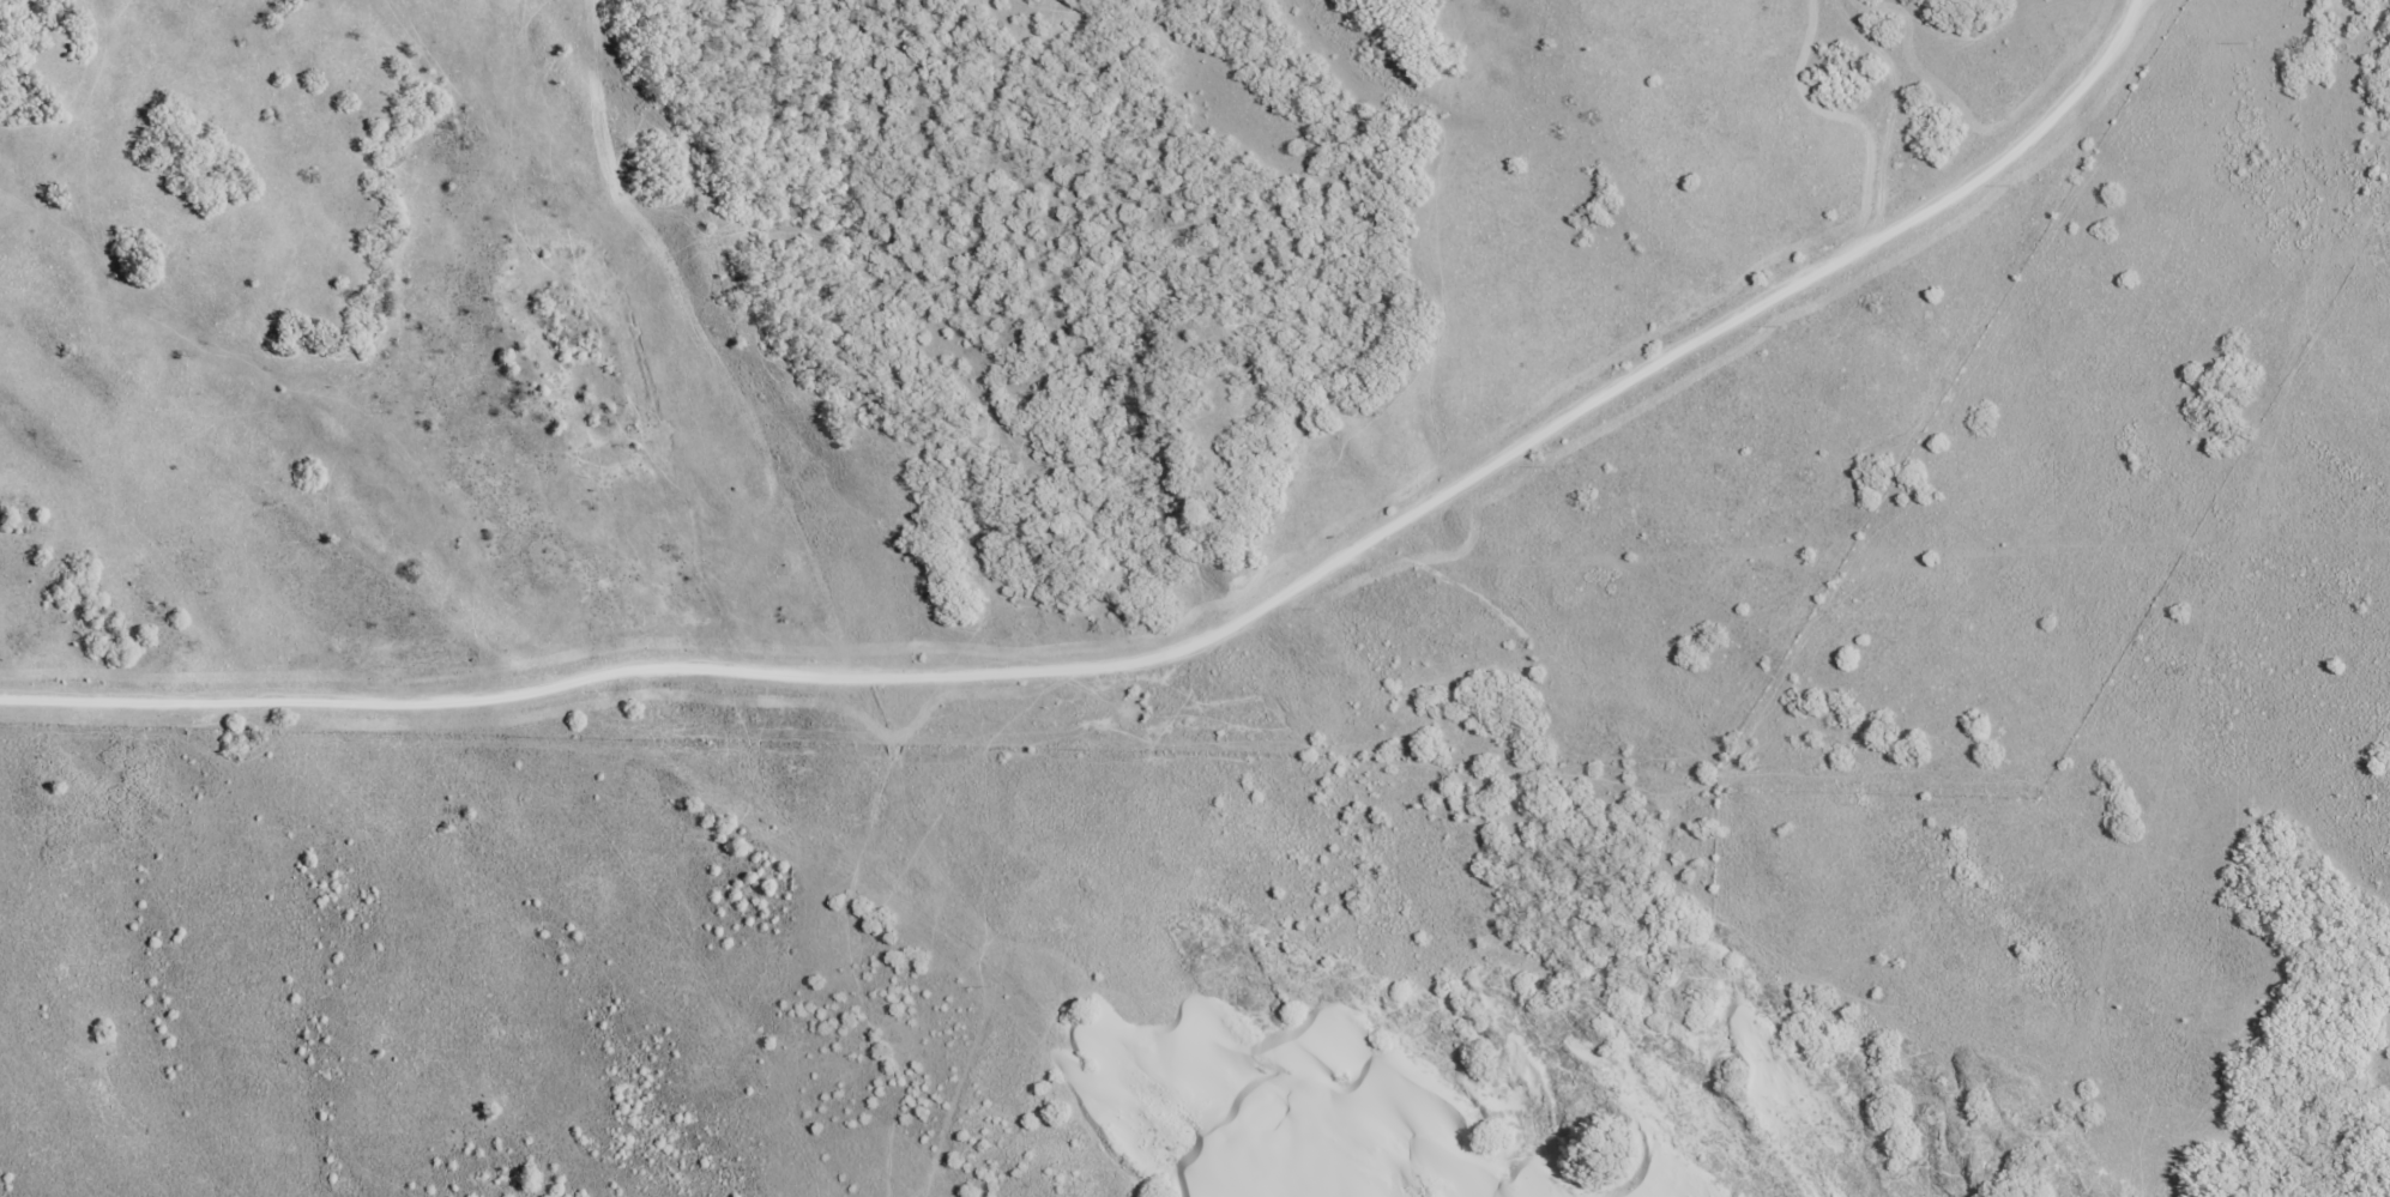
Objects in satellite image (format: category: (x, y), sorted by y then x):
road: (2361, 55)
road: (2322, 77)
road: (1169, 619)
road: (2229, 672)

